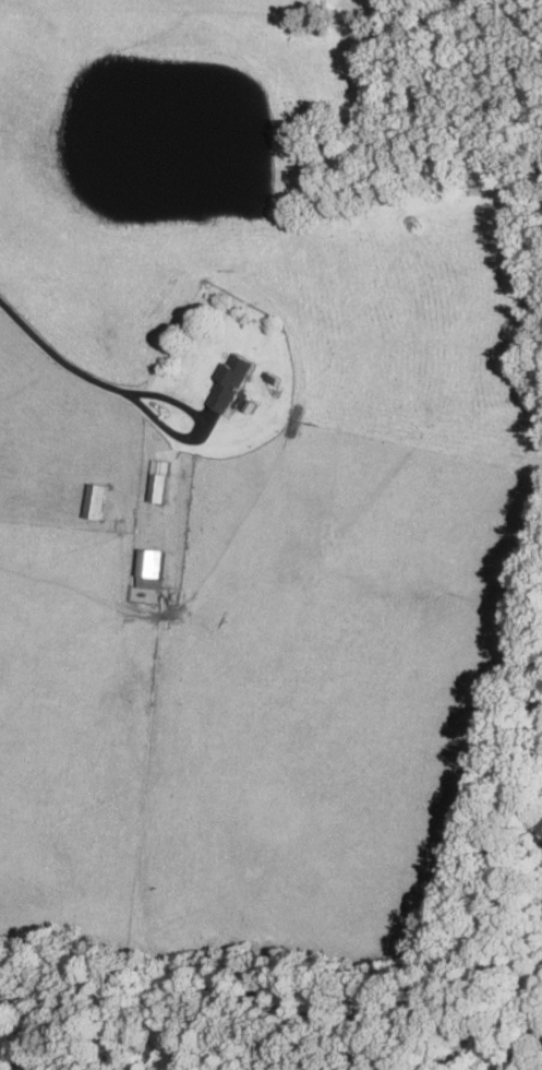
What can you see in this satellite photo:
road: (56, 356)
building: (226, 382)
road: (204, 429)
building: (155, 480)
building: (92, 500)
building: (146, 568)

